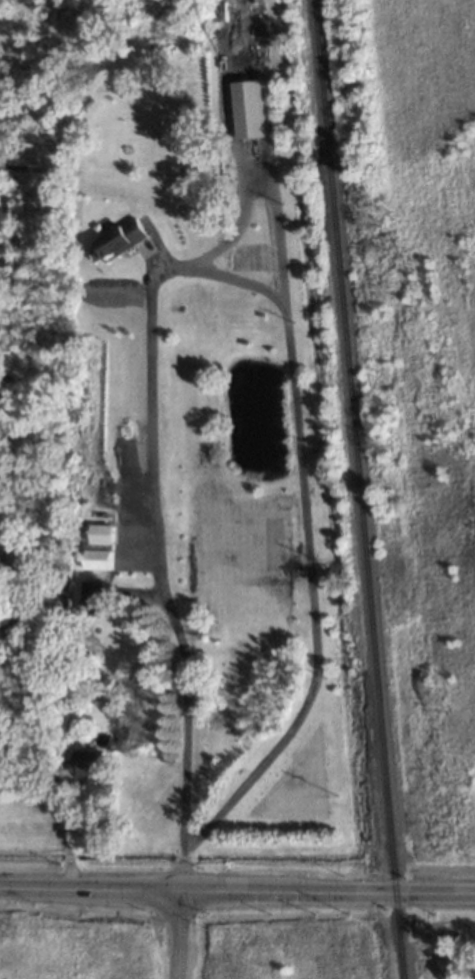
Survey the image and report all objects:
building: (249, 109)
road: (264, 194)
building: (118, 241)
road: (288, 367)
park: (426, 374)
railway: (359, 489)
building: (99, 547)
building: (91, 597)
road: (185, 744)
building: (87, 765)
road: (67, 831)
road: (237, 893)
road: (174, 935)
park: (451, 940)

